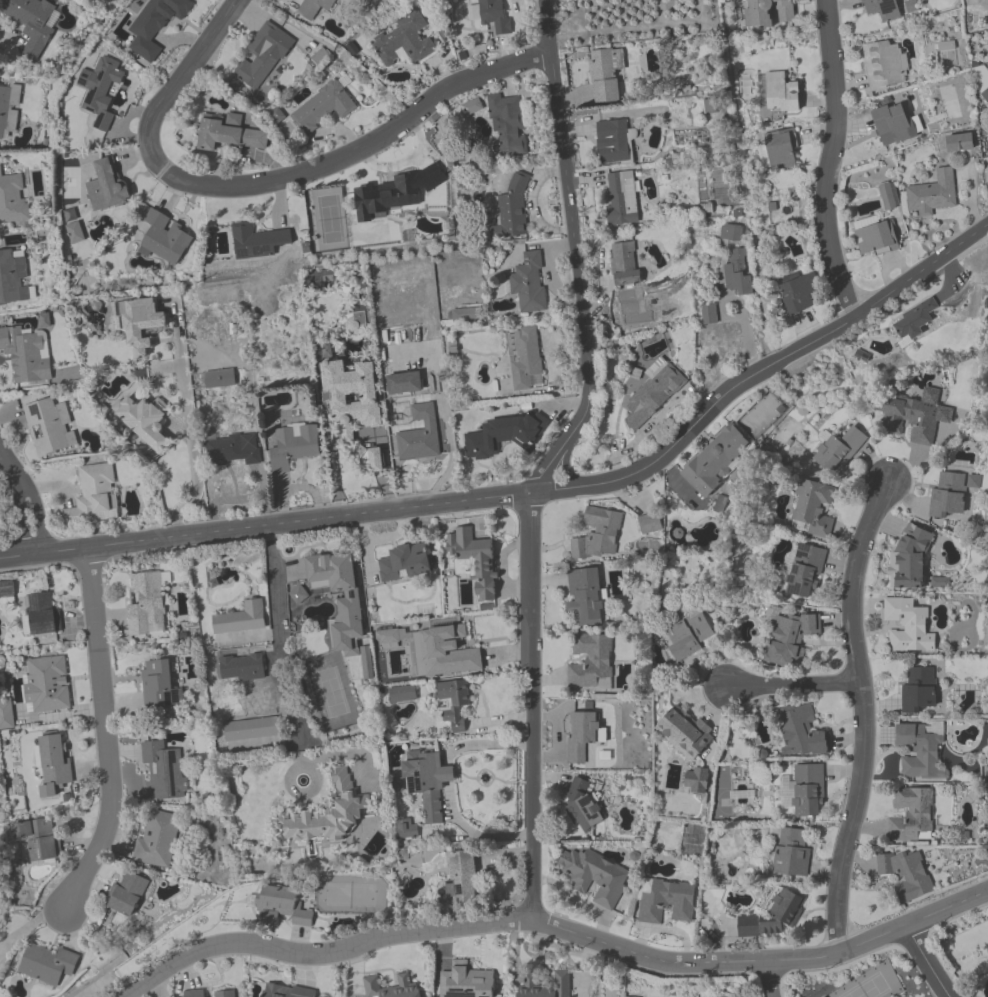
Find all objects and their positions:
building: (910, 5)
building: (312, 7)
building: (882, 9)
building: (766, 13)
building: (493, 16)
building: (30, 22)
building: (153, 24)
building: (404, 42)
building: (942, 47)
building: (262, 57)
building: (883, 65)
building: (604, 75)
road: (178, 82)
building: (99, 90)
building: (776, 94)
building: (323, 108)
building: (8, 110)
road: (607, 115)
building: (894, 123)
building: (507, 127)
building: (225, 134)
building: (613, 143)
building: (959, 143)
road: (362, 145)
building: (779, 150)
road: (829, 161)
building: (109, 184)
building: (397, 193)
building: (932, 195)
building: (886, 198)
building: (12, 199)
building: (622, 199)
building: (510, 212)
building: (75, 233)
building: (874, 237)
building: (166, 239)
building: (258, 241)
building: (624, 264)
building: (737, 272)
building: (14, 278)
building: (529, 283)
building: (799, 294)
building: (708, 314)
building: (914, 322)
building: (141, 323)
building: (26, 354)
building: (524, 359)
building: (220, 378)
building: (652, 396)
building: (353, 408)
building: (144, 420)
building: (910, 420)
building: (49, 427)
building: (418, 436)
building: (504, 436)
road: (189, 441)
building: (294, 446)
building: (224, 450)
building: (840, 451)
road: (1, 455)
road: (556, 458)
building: (716, 460)
road: (450, 461)
road: (235, 471)
road: (298, 488)
building: (94, 496)
building: (948, 496)
road: (534, 497)
road: (25, 499)
building: (811, 510)
building: (649, 525)
building: (598, 536)
building: (474, 561)
building: (910, 561)
building: (404, 563)
building: (805, 572)
building: (940, 583)
building: (6, 589)
building: (584, 597)
building: (340, 602)
building: (146, 604)
building: (41, 614)
building: (241, 619)
building: (907, 626)
road: (276, 628)
building: (387, 636)
building: (689, 636)
building: (790, 637)
building: (448, 652)
building: (590, 664)
building: (241, 668)
road: (792, 684)
building: (46, 685)
building: (156, 685)
building: (917, 690)
building: (402, 694)
building: (453, 703)
building: (5, 715)
road: (861, 716)
building: (250, 731)
building: (685, 732)
building: (801, 734)
road: (103, 735)
building: (580, 737)
road: (481, 744)
building: (920, 749)
building: (53, 761)
building: (163, 771)
road: (447, 774)
building: (425, 781)
building: (695, 781)
building: (803, 790)
building: (582, 806)
building: (328, 814)
building: (911, 814)
building: (406, 829)
road: (471, 832)
building: (38, 839)
building: (157, 841)
building: (791, 853)
building: (905, 874)
building: (594, 876)
building: (461, 878)
building: (128, 895)
building: (664, 900)
building: (281, 906)
building: (772, 916)
road: (322, 950)
road: (935, 962)
road: (761, 963)
building: (47, 965)
road: (767, 980)
building: (465, 981)
building: (545, 985)
building: (390, 987)
building: (286, 991)
building: (209, 993)
building: (624, 996)

